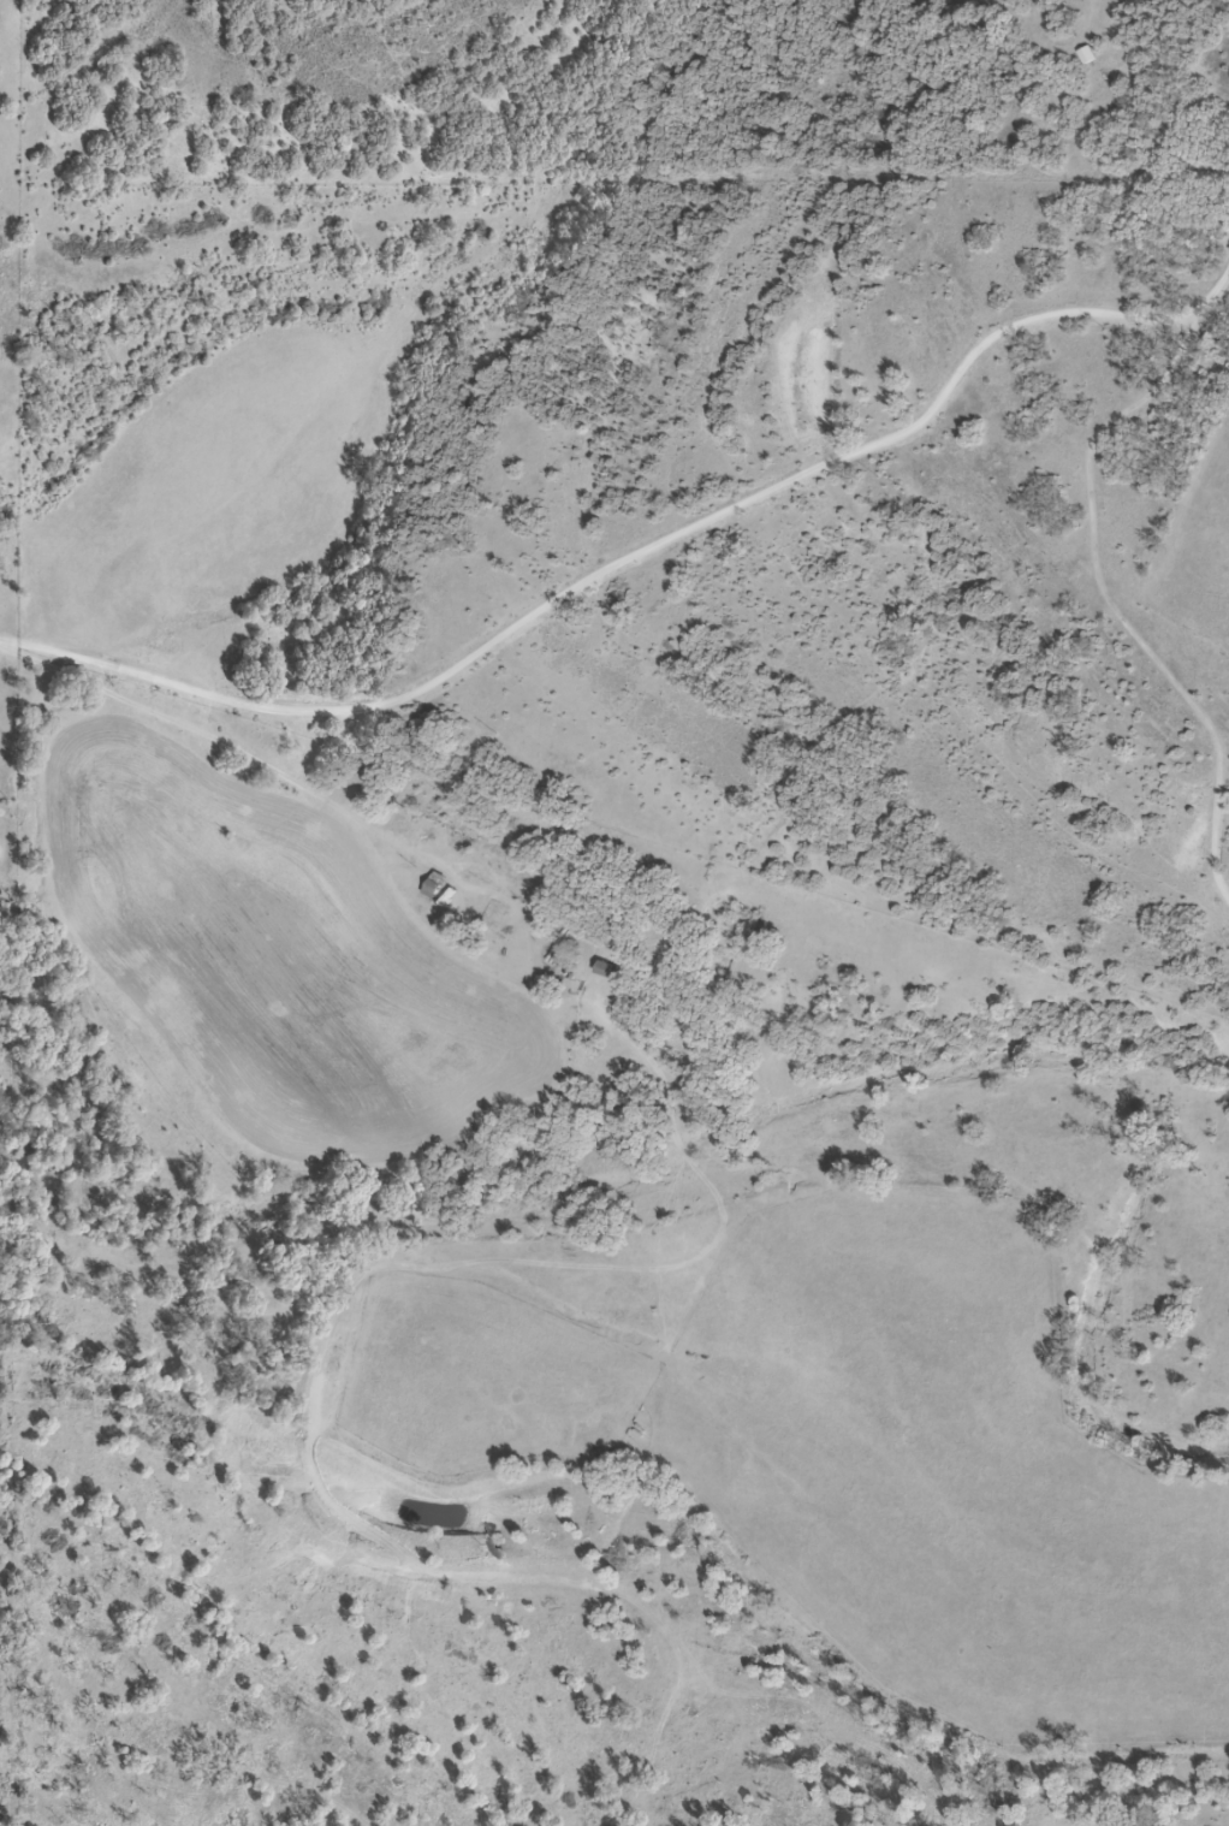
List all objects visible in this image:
road: (796, 841)
building: (433, 884)
building: (601, 970)

